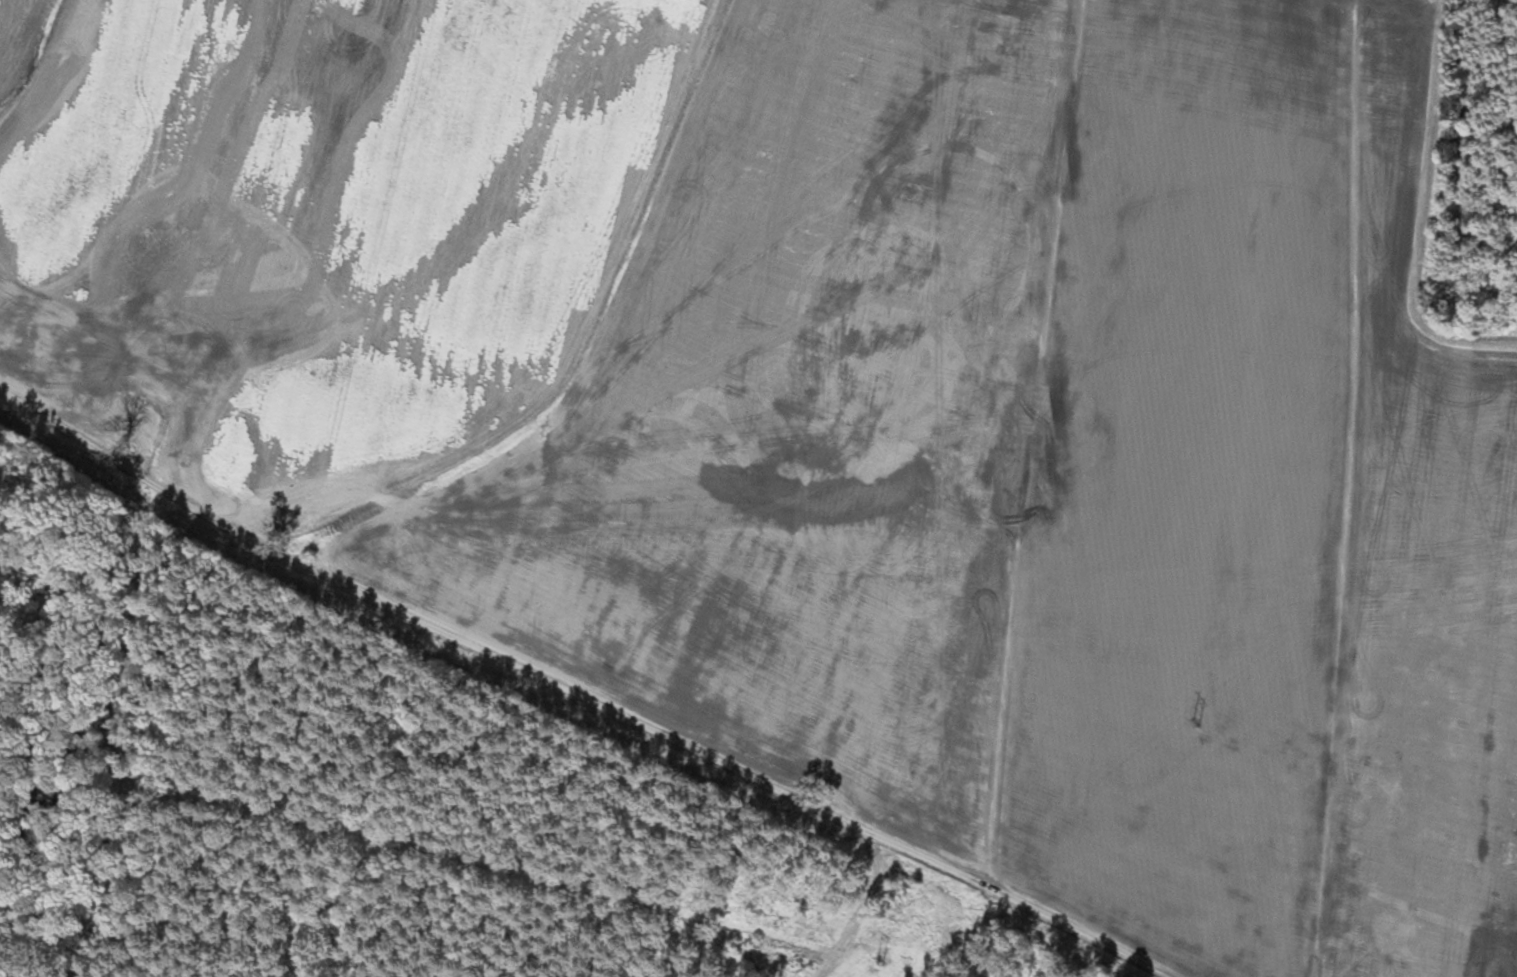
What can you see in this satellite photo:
road: (617, 702)

